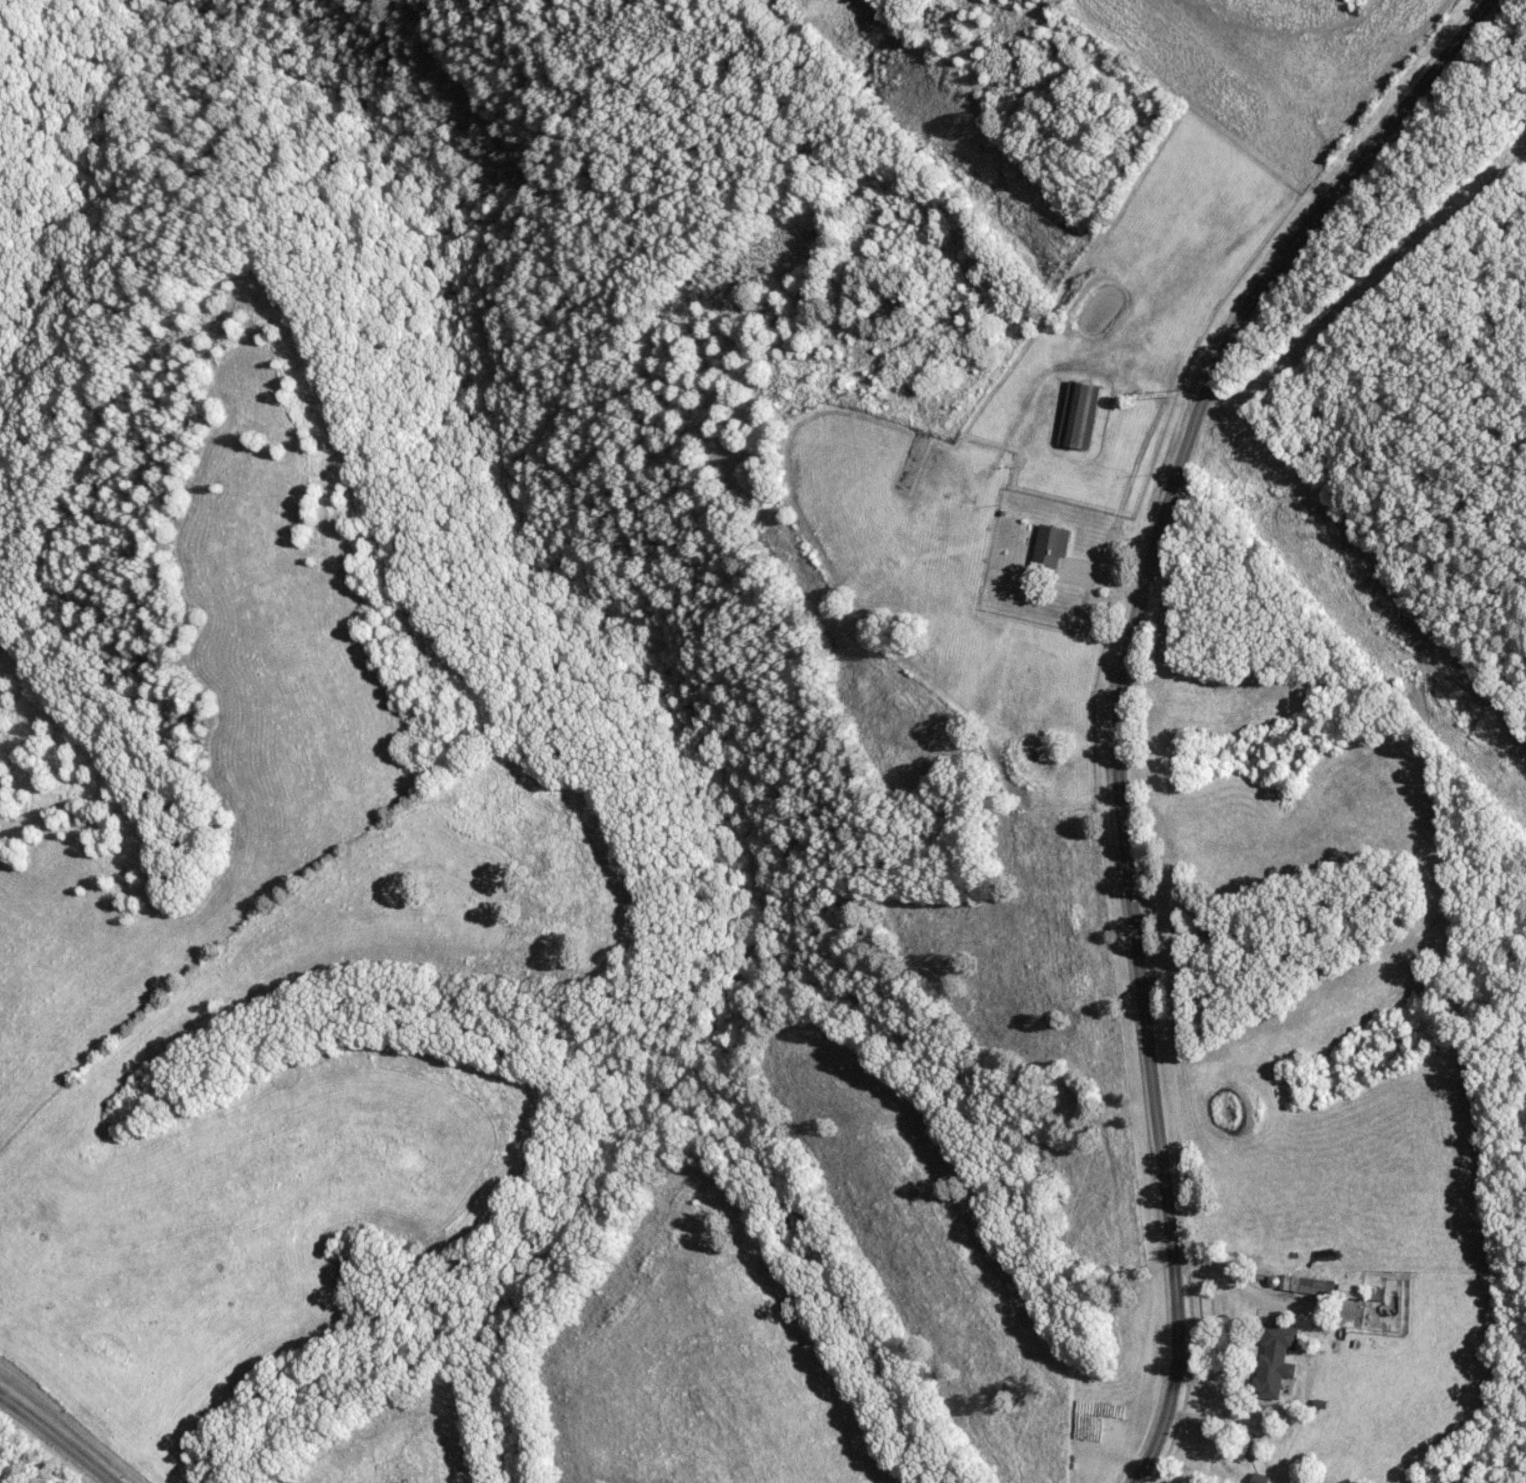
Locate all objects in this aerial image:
power tower: (1174, 393)
building: (1076, 414)
building: (1048, 545)
road: (1122, 694)
building: (1347, 1290)
building: (1270, 1359)
road: (61, 1435)
building: (1256, 1478)

